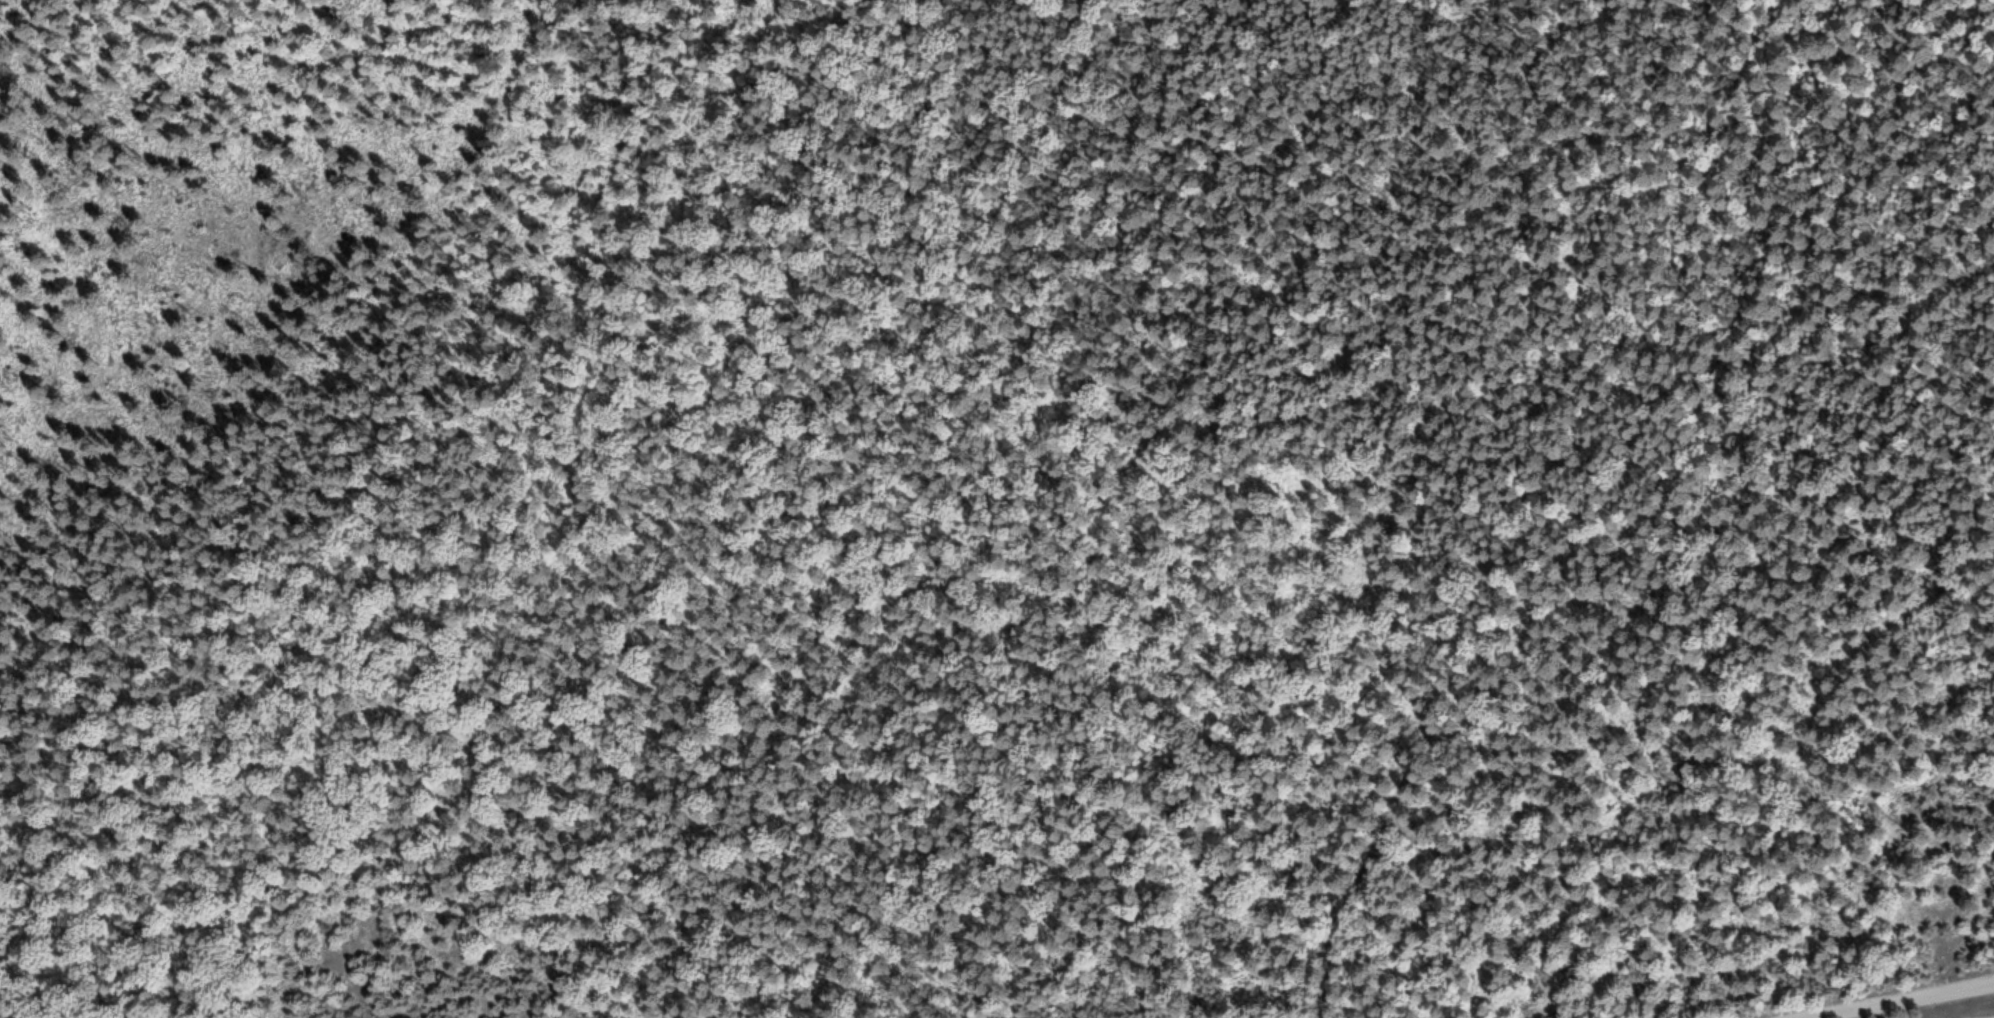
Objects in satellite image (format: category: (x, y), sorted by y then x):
road: (1894, 1000)

